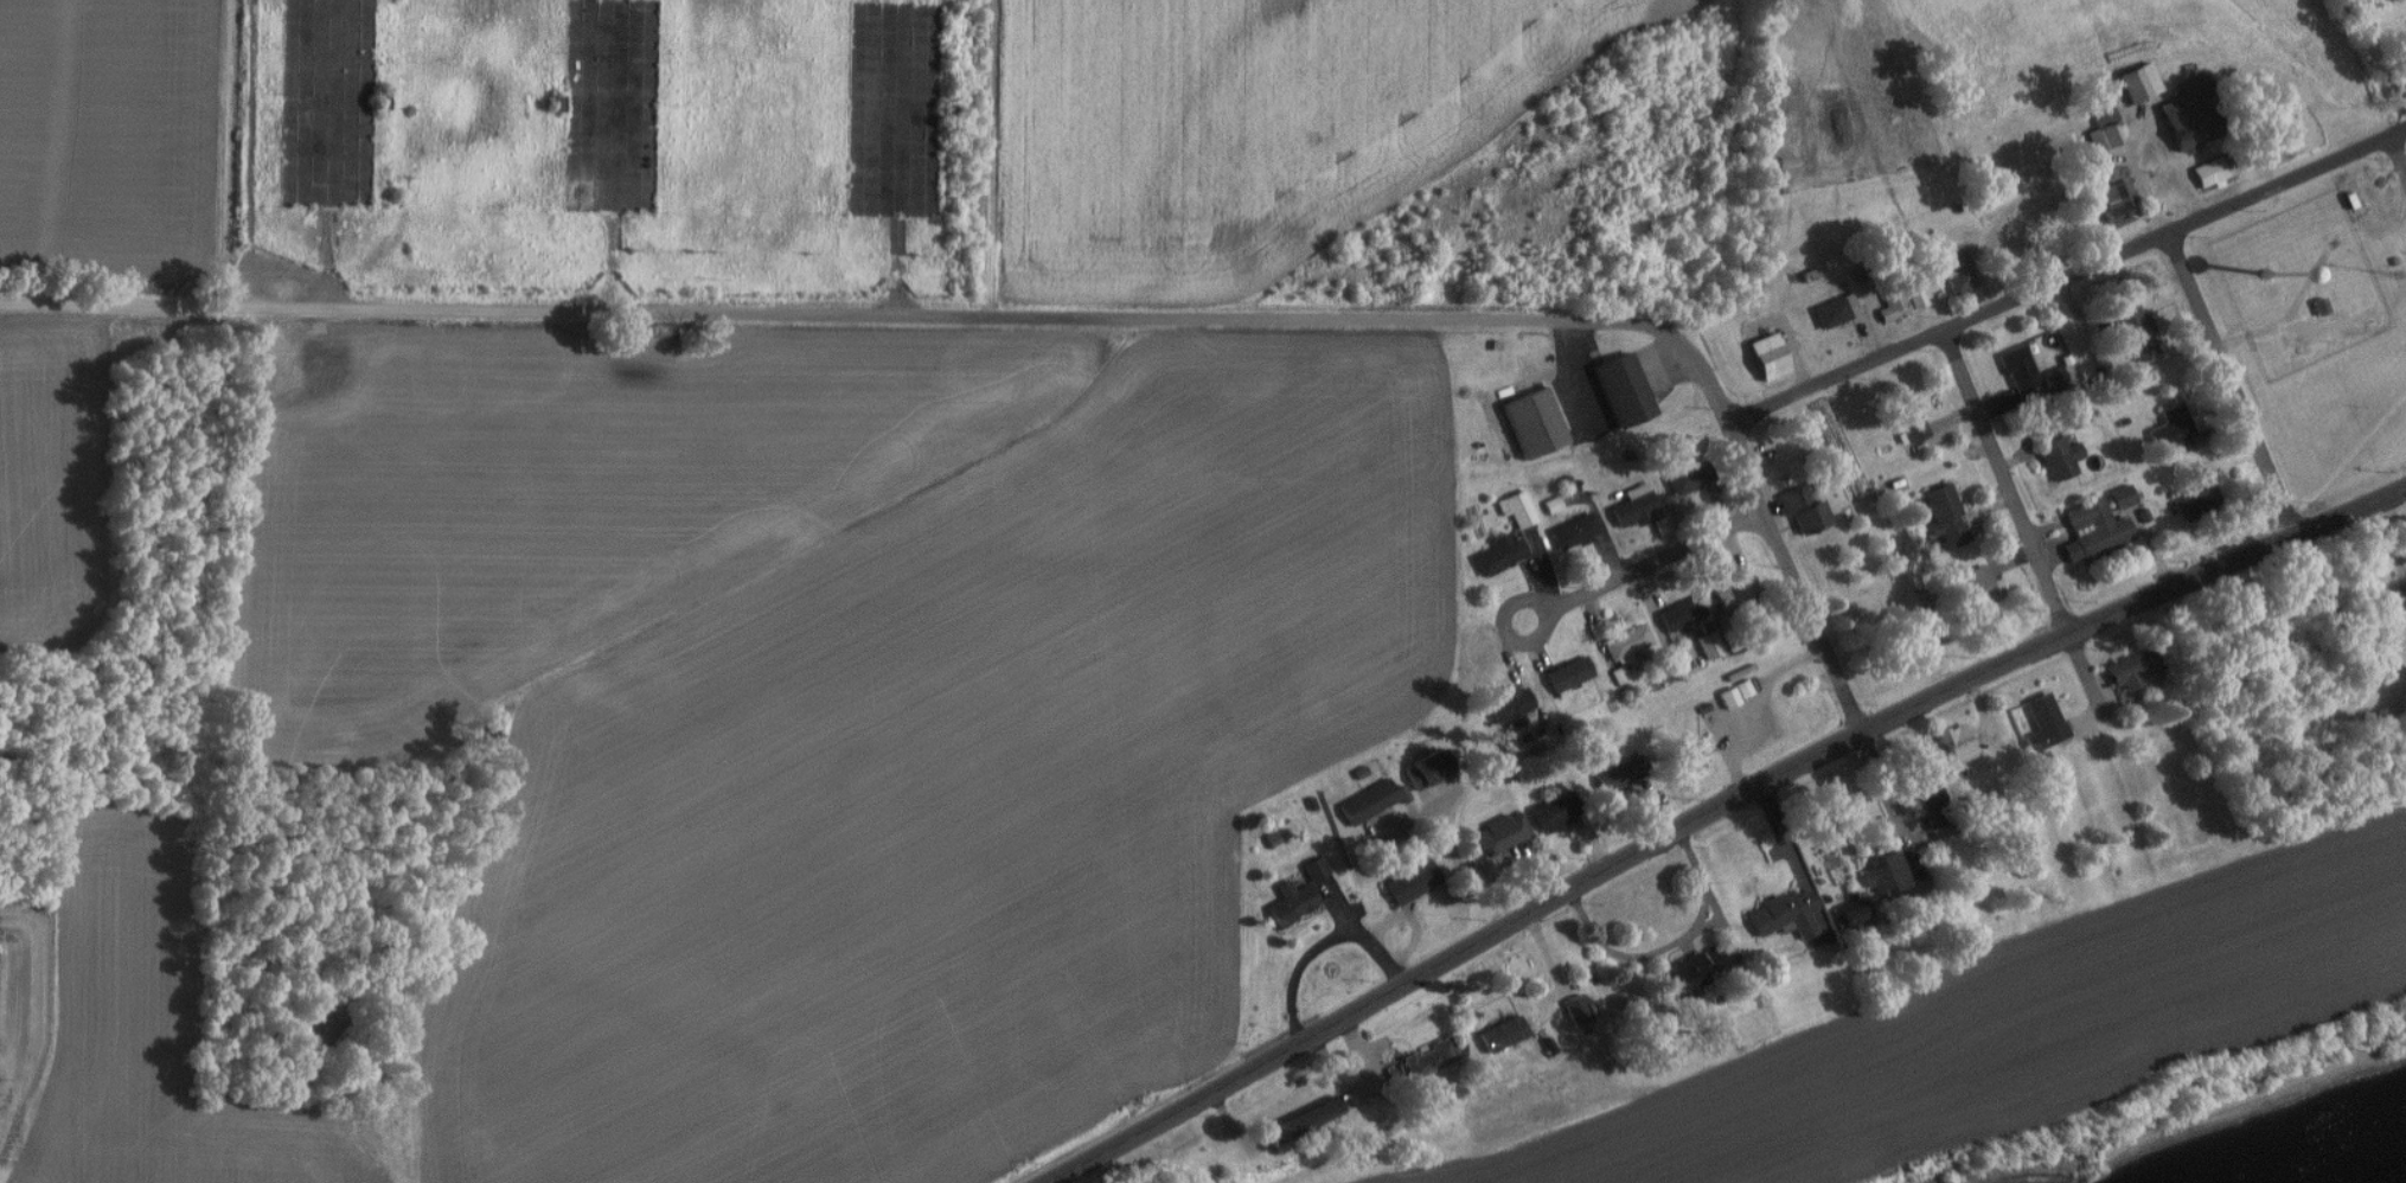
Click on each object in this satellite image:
building: (2138, 83)
road: (2399, 152)
road: (248, 155)
building: (2213, 172)
building: (2119, 204)
building: (1956, 270)
road: (2068, 276)
building: (1915, 293)
building: (1894, 307)
road: (166, 309)
building: (1835, 312)
road: (1005, 320)
building: (2135, 331)
building: (1767, 358)
building: (2020, 370)
building: (2054, 377)
building: (1621, 390)
building: (1909, 418)
building: (2068, 421)
building: (1532, 423)
building: (2171, 431)
building: (2060, 459)
road: (2267, 468)
building: (1687, 479)
road: (2005, 481)
building: (2123, 497)
building: (2196, 504)
building: (1553, 505)
building: (1634, 506)
building: (1517, 510)
building: (1804, 511)
building: (1946, 518)
road: (1775, 530)
building: (2095, 531)
building: (1575, 532)
building: (1499, 555)
road: (1662, 555)
building: (1734, 591)
building: (1682, 614)
road: (1505, 634)
building: (1627, 642)
building: (1709, 646)
road: (2088, 670)
building: (2131, 670)
building: (1568, 674)
building: (1511, 706)
building: (2043, 723)
building: (1957, 744)
building: (1688, 762)
building: (1423, 769)
building: (1618, 779)
road: (1889, 795)
road: (1734, 798)
building: (1932, 800)
building: (1369, 802)
building: (1555, 813)
building: (1502, 833)
road: (1455, 849)
building: (1316, 869)
building: (1887, 875)
building: (1412, 883)
building: (1292, 903)
building: (1786, 914)
building: (1854, 916)
road: (1671, 944)
road: (1320, 945)
building: (1692, 971)
building: (1578, 1011)
building: (1503, 1035)
building: (1428, 1060)
building: (1303, 1123)
road: (1062, 1170)
road: (393, 1172)

